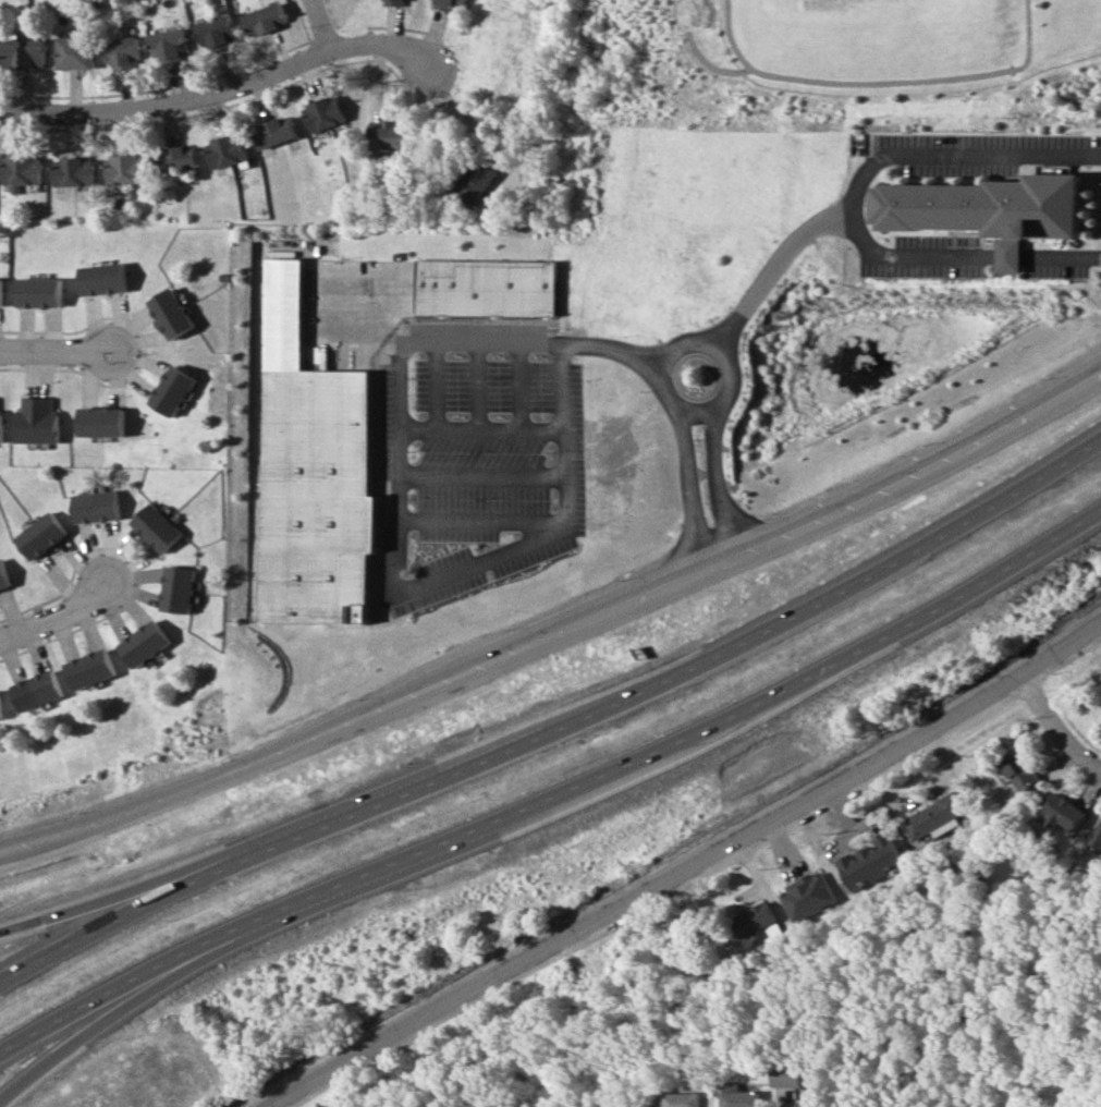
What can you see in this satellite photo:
building: (396, 2)
building: (453, 4)
building: (266, 19)
road: (319, 21)
building: (219, 33)
building: (170, 45)
building: (122, 51)
building: (74, 52)
building: (24, 53)
road: (231, 82)
building: (325, 113)
road: (478, 124)
building: (274, 132)
building: (390, 135)
building: (227, 150)
road: (953, 155)
building: (176, 159)
building: (123, 168)
building: (21, 171)
building: (72, 171)
building: (479, 178)
building: (991, 209)
road: (827, 226)
building: (105, 279)
building: (496, 289)
building: (2, 292)
building: (41, 292)
building: (173, 313)
road: (65, 350)
building: (175, 390)
road: (700, 412)
building: (40, 421)
building: (105, 422)
building: (2, 426)
road: (685, 433)
road: (718, 441)
parking lot: (479, 470)
building: (319, 496)
building: (97, 507)
road: (389, 515)
building: (157, 527)
building: (41, 535)
building: (3, 576)
building: (180, 589)
road: (59, 610)
road: (559, 629)
building: (146, 643)
building: (91, 669)
building: (38, 690)
building: (1, 708)
road: (554, 719)
road: (1057, 723)
building: (1022, 771)
road: (555, 793)
building: (1065, 812)
building: (933, 816)
building: (1098, 837)
building: (874, 862)
road: (689, 868)
building: (810, 896)
road: (99, 899)
road: (97, 1019)
building: (790, 1075)
building: (744, 1098)
building: (682, 1099)

